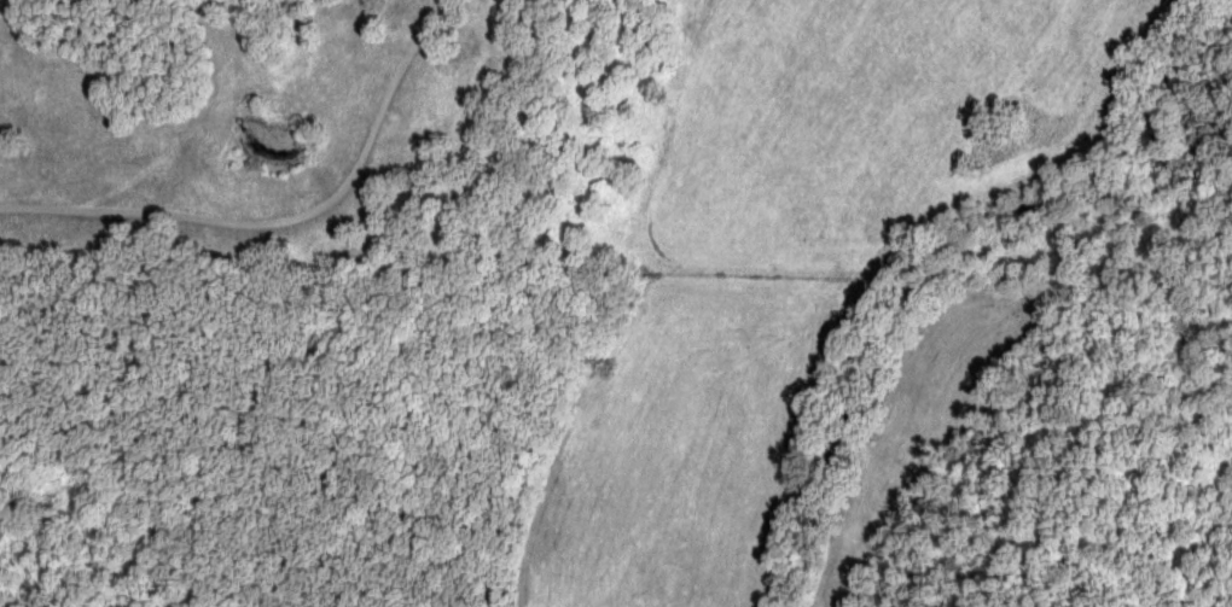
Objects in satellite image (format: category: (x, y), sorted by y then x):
road: (285, 221)

